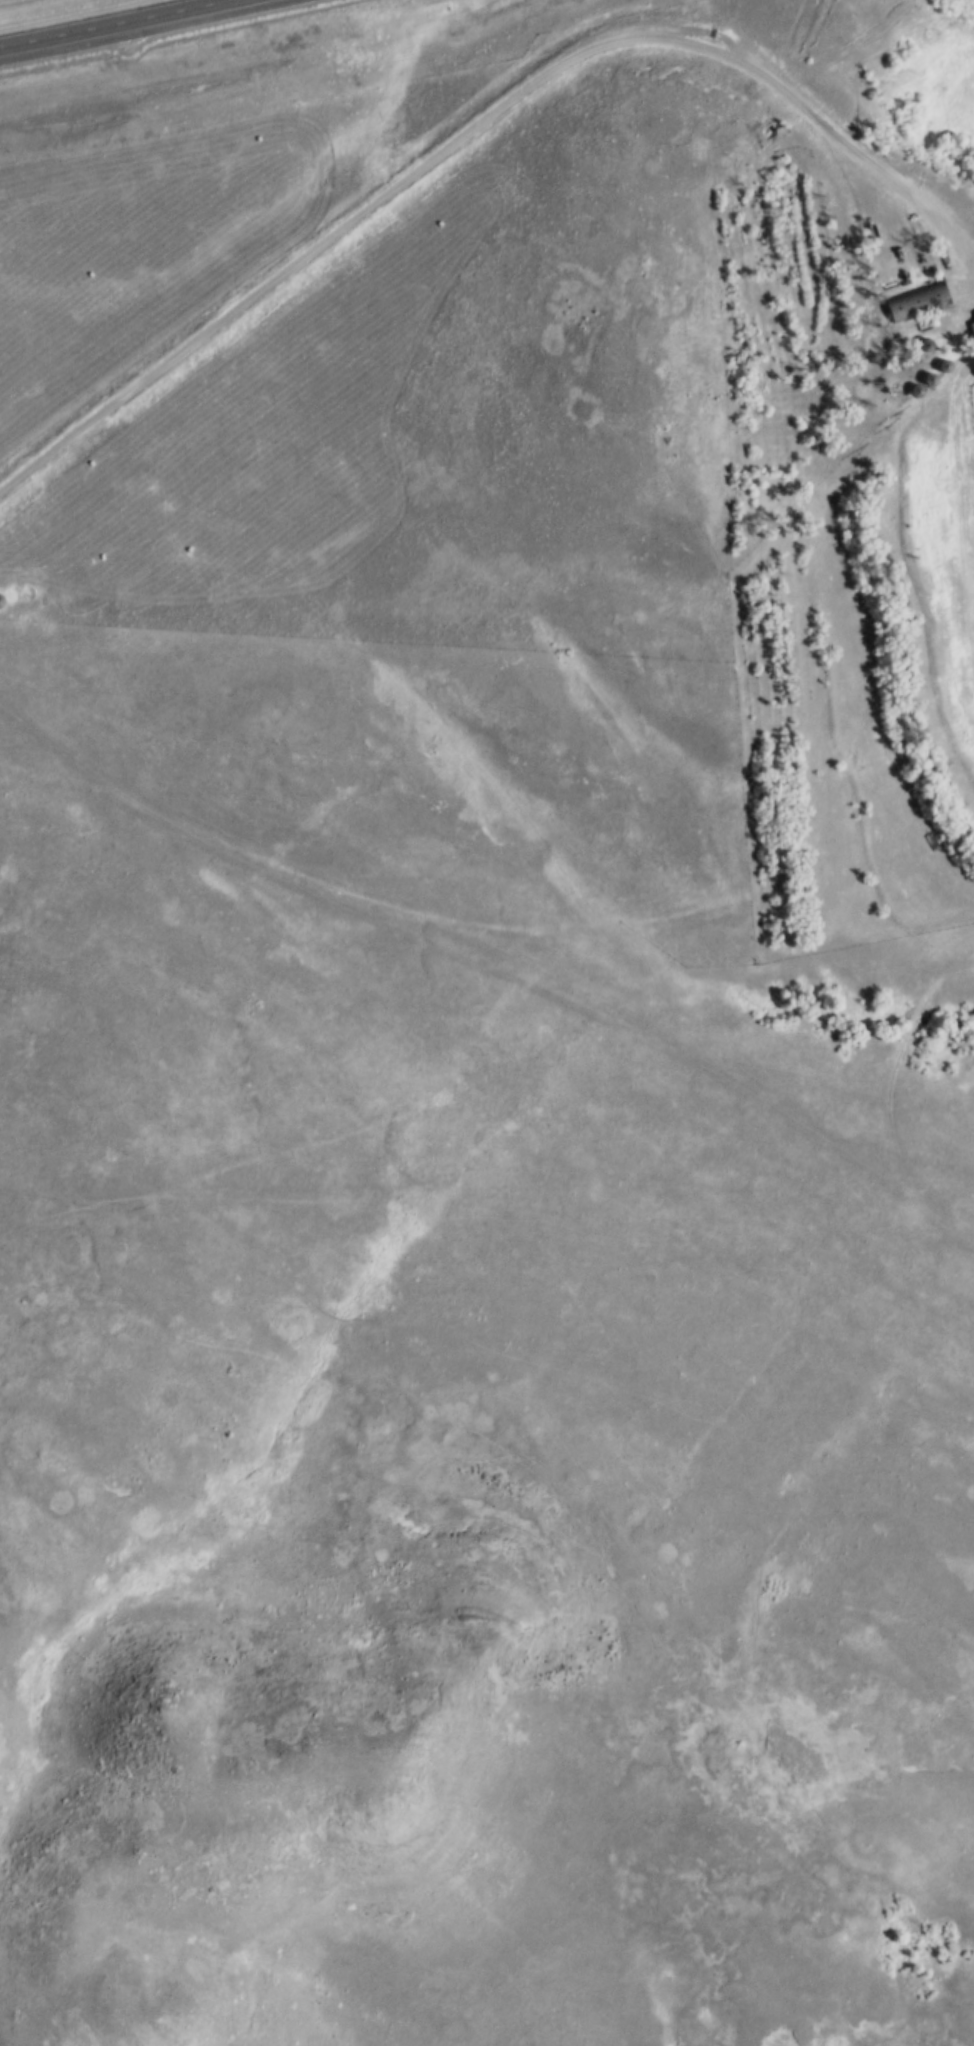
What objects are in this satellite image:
road: (140, 26)
road: (478, 132)
building: (947, 256)
building: (920, 301)
building: (972, 325)

